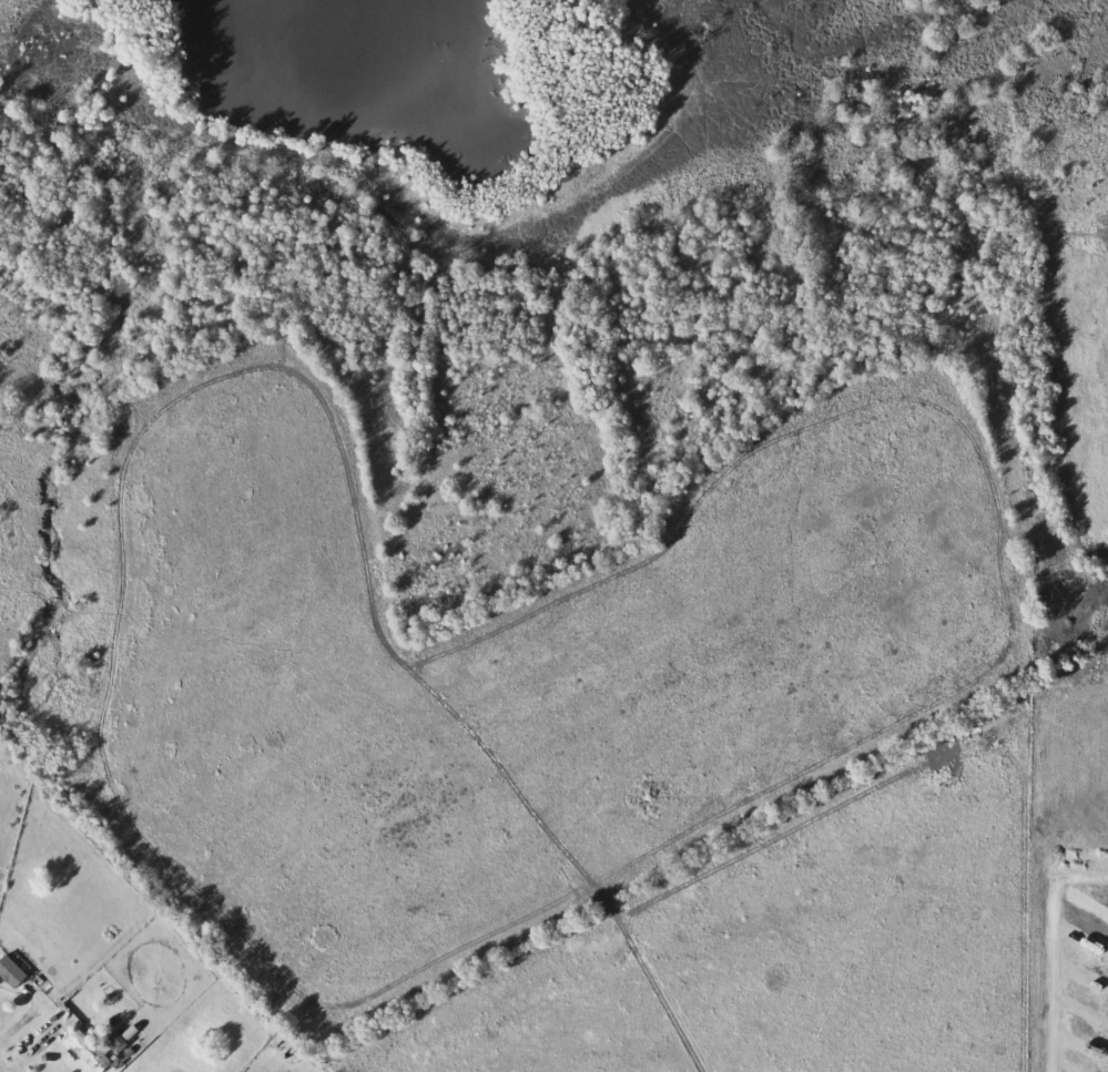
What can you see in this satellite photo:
building: (12, 972)
building: (89, 1051)

